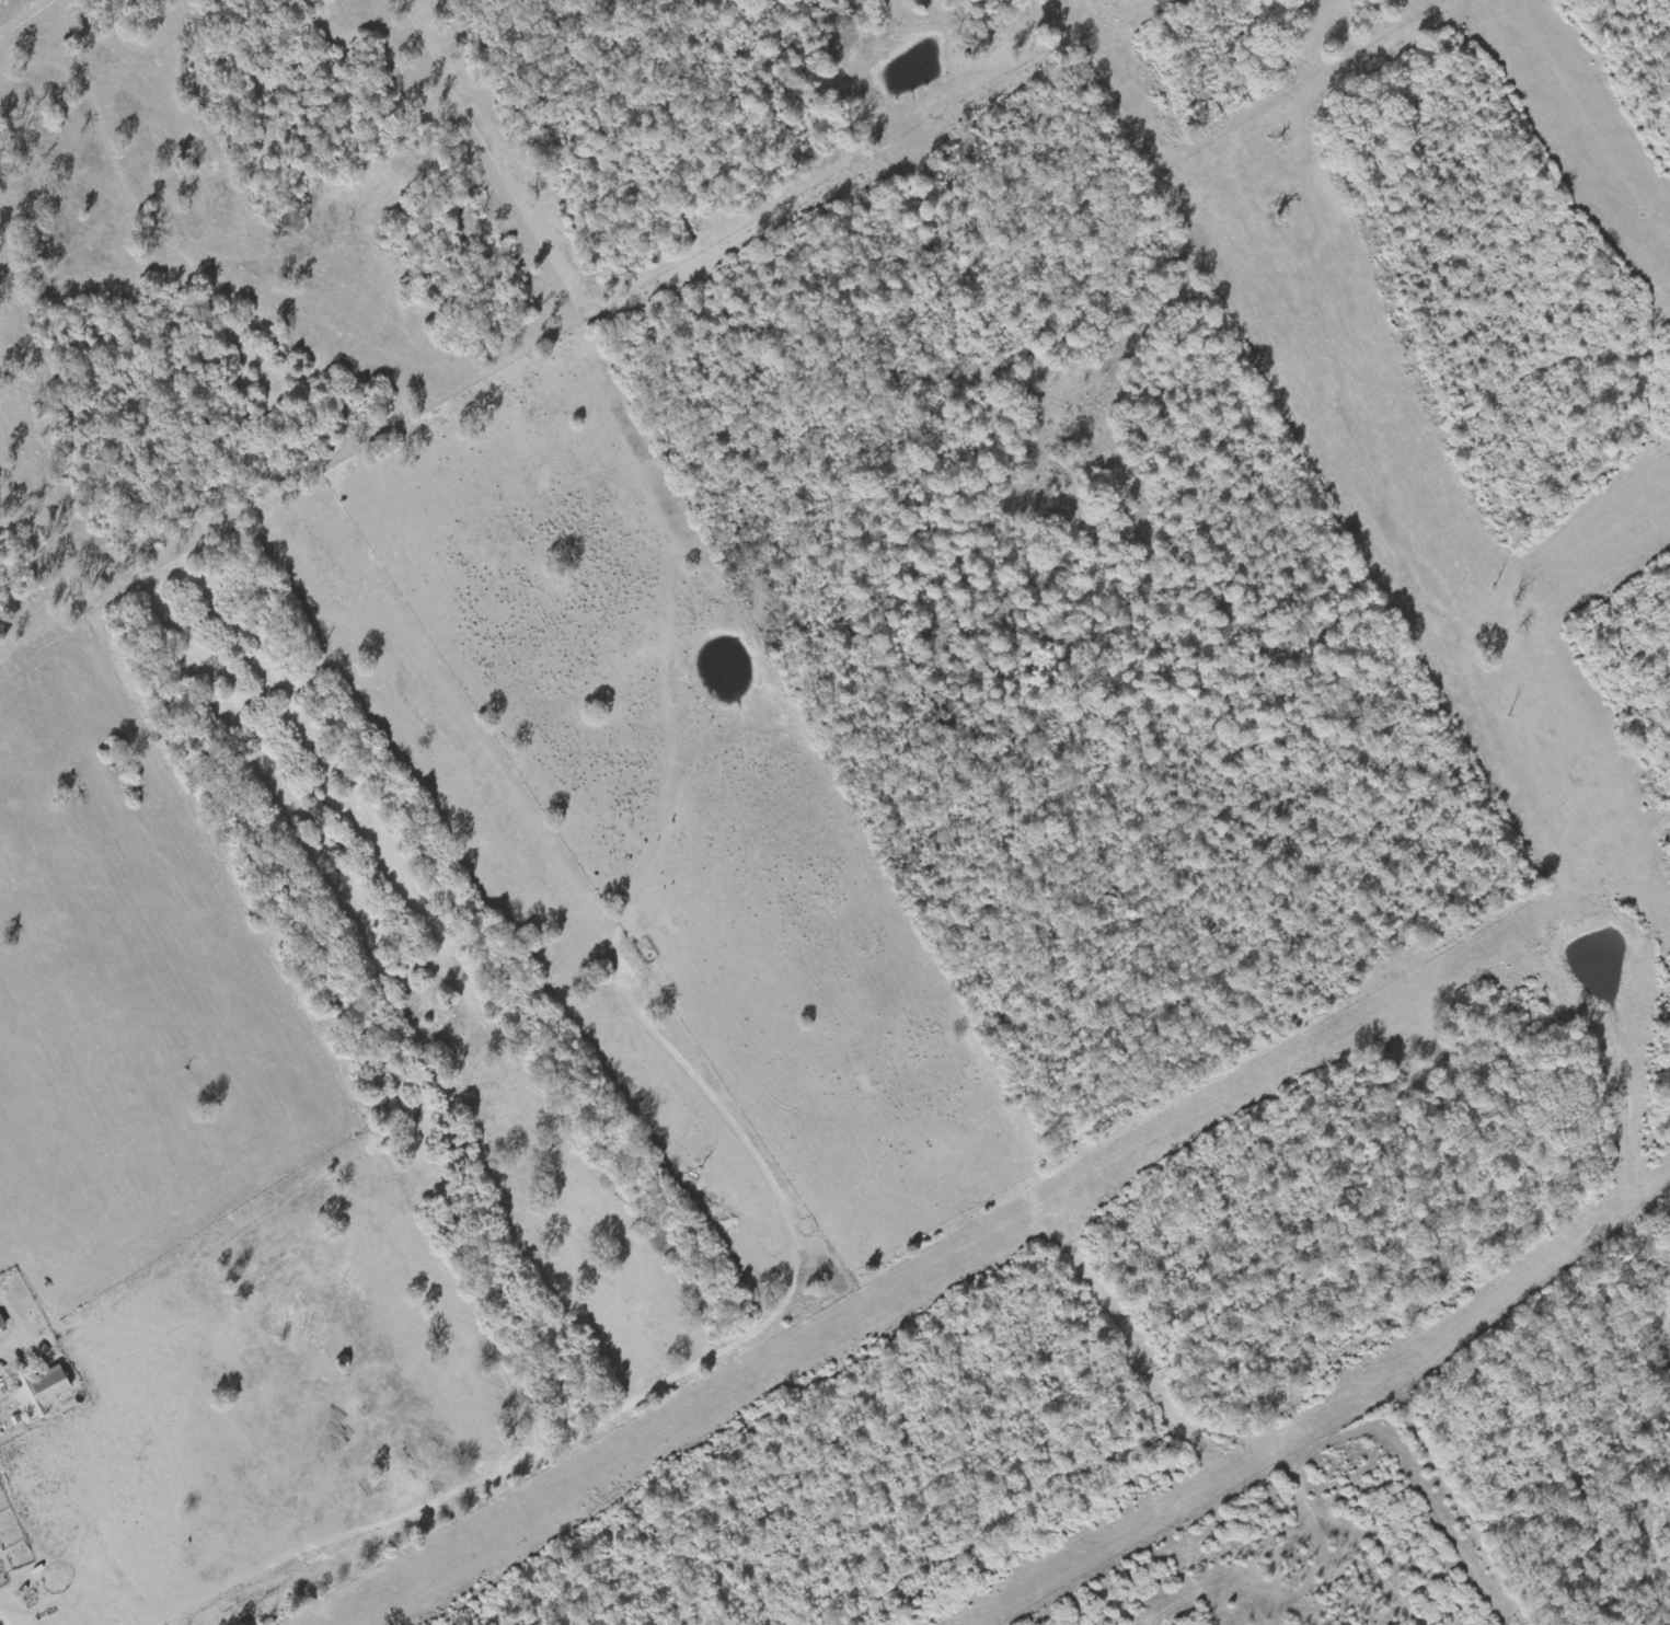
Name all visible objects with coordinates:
chimney: (1056, 59)
building: (3, 1324)
building: (45, 1392)

